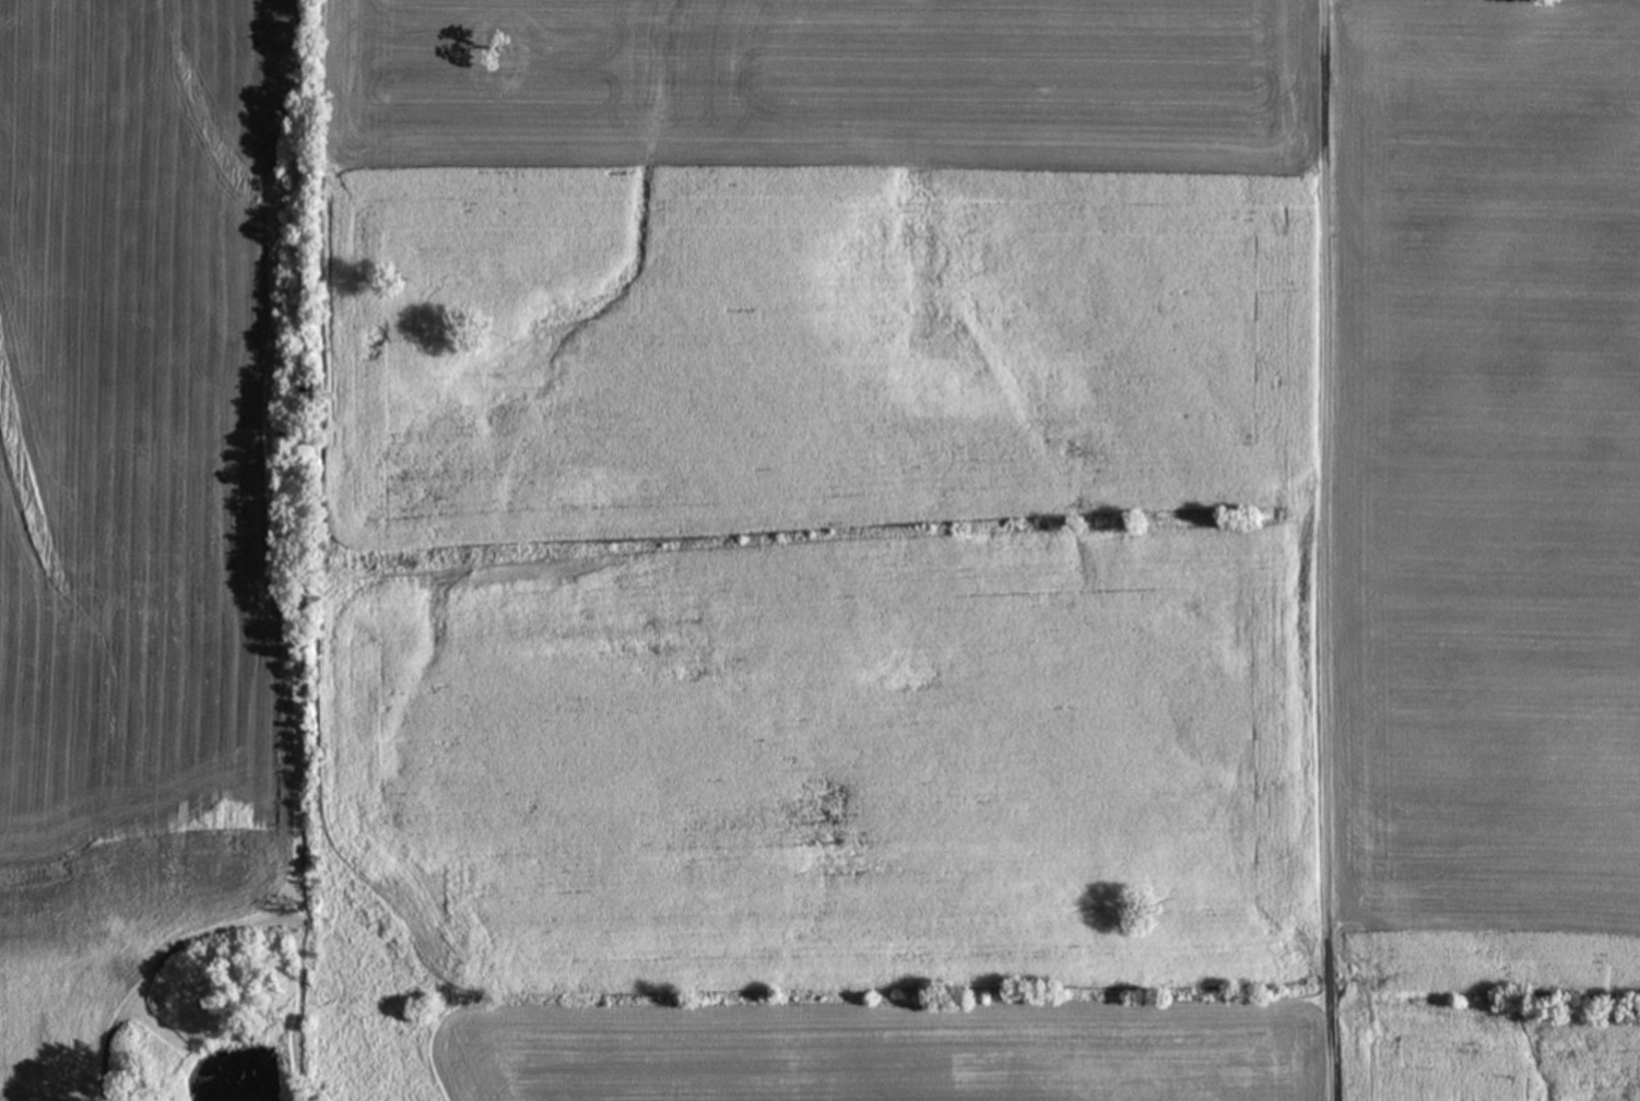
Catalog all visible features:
road: (1324, 550)

